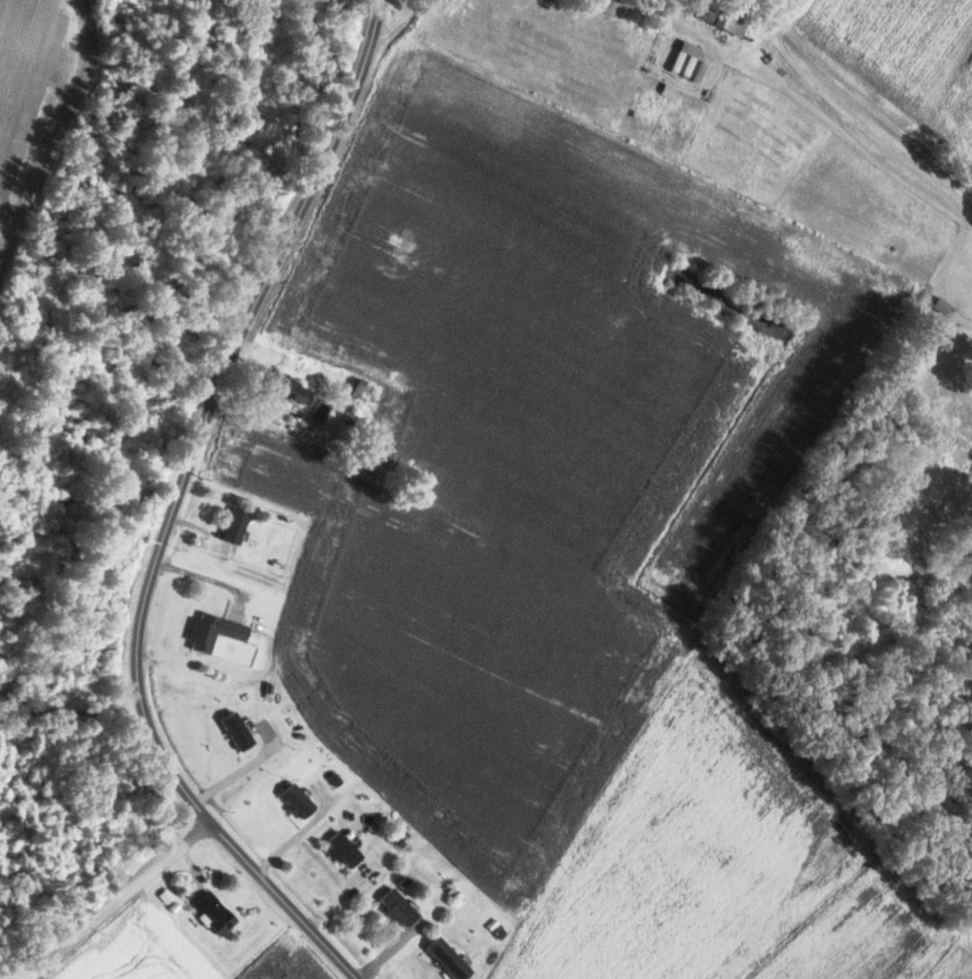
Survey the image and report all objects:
road: (399, 21)
building: (732, 22)
building: (687, 59)
road: (860, 86)
building: (671, 91)
building: (360, 387)
building: (296, 391)
road: (171, 509)
building: (238, 525)
building: (220, 632)
building: (125, 836)
building: (346, 849)
road: (118, 903)
building: (400, 908)
building: (220, 918)
building: (450, 959)

